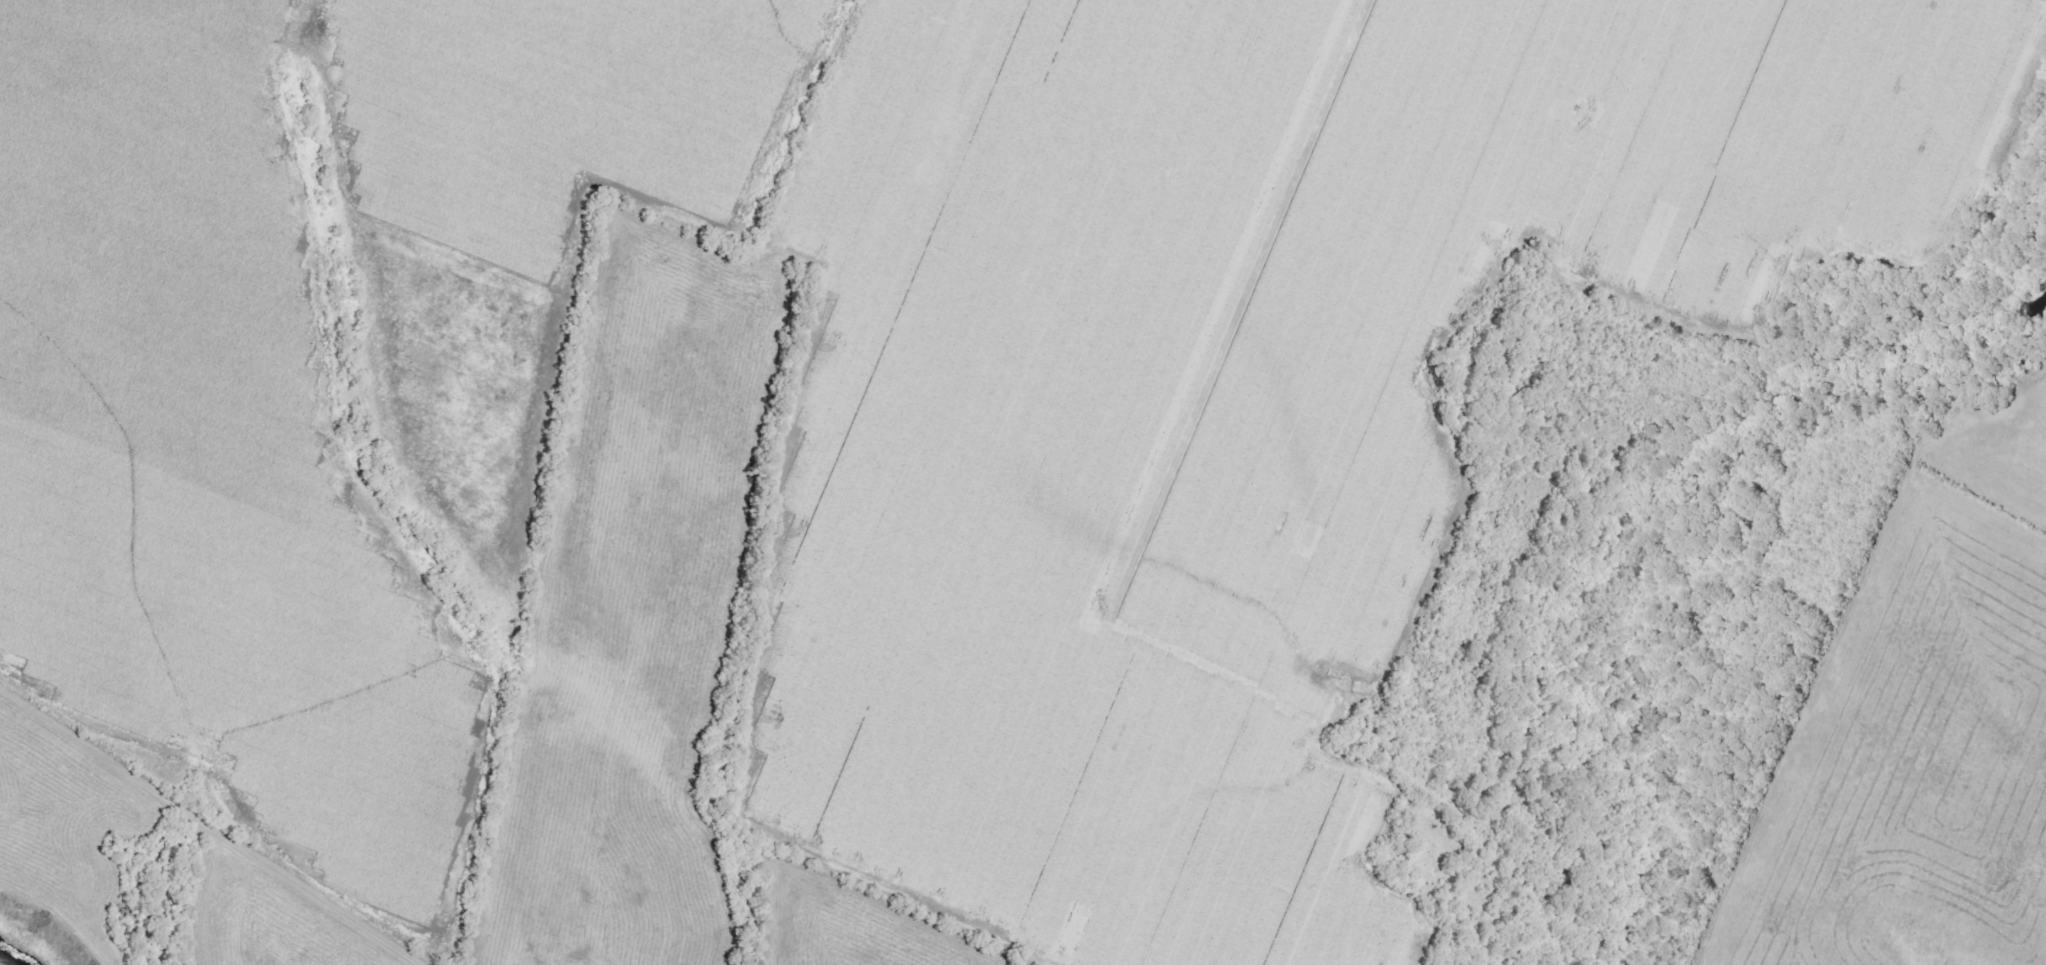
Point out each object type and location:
road: (1186, 493)
road: (214, 825)

